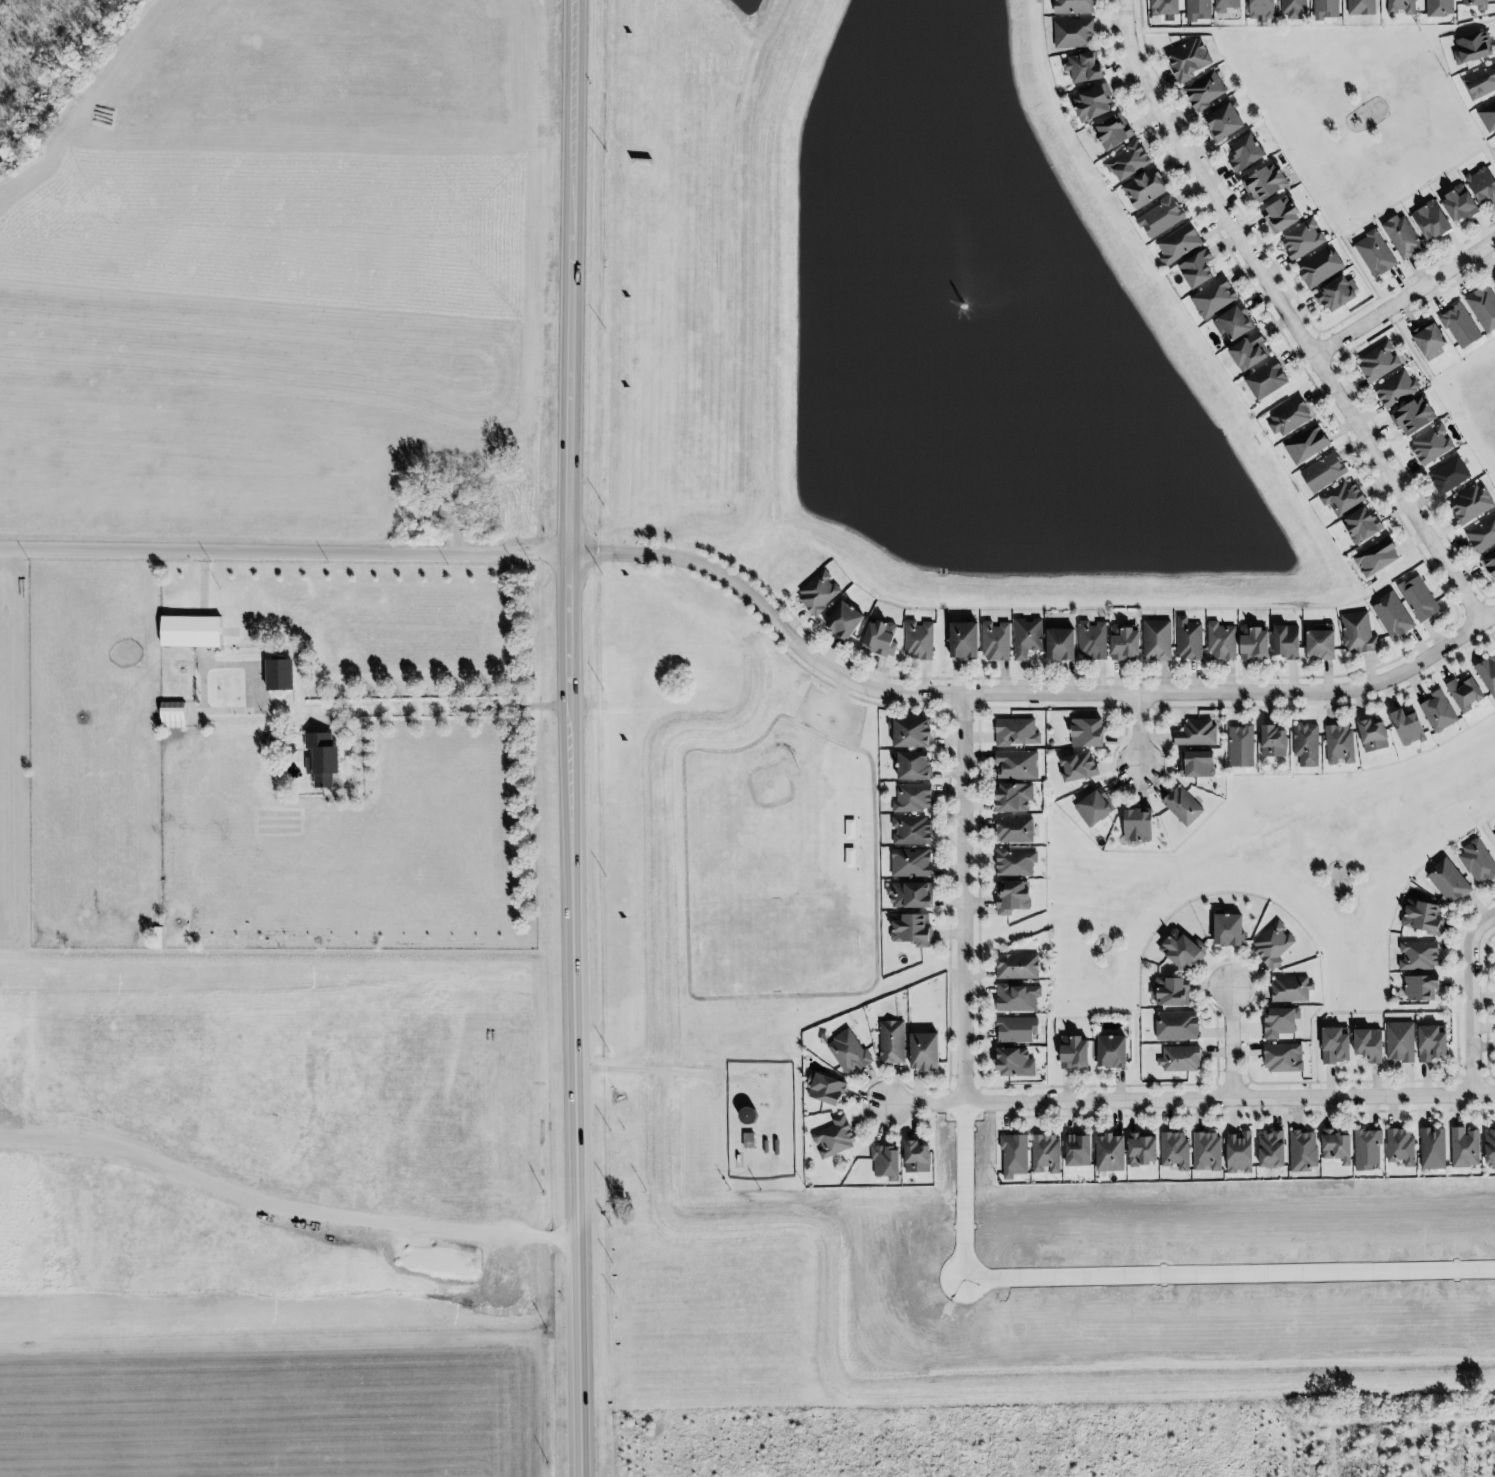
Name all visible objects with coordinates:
building: (1226, 5)
building: (1477, 5)
building: (1071, 7)
building: (1161, 7)
building: (1361, 7)
building: (1402, 7)
building: (1440, 8)
building: (1262, 9)
building: (1294, 9)
building: (1324, 9)
building: (1199, 10)
building: (1074, 34)
building: (1473, 49)
building: (1188, 61)
building: (1084, 69)
building: (1481, 84)
building: (1205, 92)
building: (1093, 104)
building: (1488, 118)
building: (1225, 125)
building: (1114, 134)
building: (1494, 136)
building: (1246, 156)
building: (1125, 161)
building: (1263, 181)
building: (1482, 186)
building: (1145, 190)
building: (1455, 203)
building: (1278, 214)
building: (1162, 219)
building: (1432, 223)
building: (1401, 236)
building: (1303, 241)
building: (1177, 244)
building: (1373, 253)
building: (1320, 269)
building: (1197, 272)
building: (1493, 281)
building: (1334, 293)
road: (1405, 296)
building: (1213, 300)
building: (1483, 305)
road: (1289, 314)
building: (1460, 324)
building: (1235, 326)
building: (1430, 338)
building: (1250, 354)
building: (1380, 360)
building: (1266, 381)
building: (1396, 387)
building: (1413, 412)
building: (1287, 417)
building: (1305, 445)
building: (1429, 445)
building: (1324, 471)
building: (1448, 475)
building: (1343, 497)
building: (1468, 505)
building: (1363, 523)
building: (1481, 535)
road: (287, 549)
building: (1375, 557)
building: (1490, 562)
building: (819, 591)
building: (1418, 598)
building: (1393, 614)
building: (840, 620)
building: (192, 630)
building: (1356, 633)
building: (880, 637)
building: (1025, 637)
building: (964, 638)
building: (1093, 638)
building: (1158, 638)
building: (1189, 638)
building: (919, 639)
building: (1287, 639)
building: (993, 641)
building: (1125, 641)
building: (1220, 641)
building: (1254, 642)
building: (1317, 642)
building: (1056, 644)
building: (280, 671)
building: (1487, 672)
building: (1462, 693)
road: (1022, 695)
building: (1439, 710)
building: (173, 715)
road: (383, 717)
building: (1408, 725)
building: (1088, 730)
building: (911, 731)
building: (1016, 731)
road: (1138, 731)
building: (1197, 732)
building: (1373, 733)
road: (575, 738)
building: (1274, 739)
building: (1307, 743)
building: (1338, 744)
building: (1242, 745)
building: (323, 756)
building: (1198, 762)
building: (914, 763)
building: (1018, 764)
building: (1079, 765)
building: (1014, 796)
building: (913, 798)
building: (1183, 804)
building: (1095, 805)
building: (1139, 822)
building: (849, 829)
building: (910, 830)
building: (1012, 830)
building: (848, 857)
building: (1476, 861)
building: (912, 862)
building: (1016, 862)
building: (1449, 880)
building: (909, 895)
building: (1013, 895)
road: (960, 898)
building: (1424, 916)
building: (1230, 927)
building: (914, 928)
building: (1273, 944)
building: (1184, 947)
building: (1419, 955)
building: (1018, 965)
building: (1421, 985)
building: (1290, 989)
building: (1174, 990)
building: (1017, 996)
road: (1472, 1001)
building: (1278, 1022)
building: (1178, 1025)
building: (1017, 1028)
building: (892, 1041)
building: (1369, 1042)
building: (1398, 1042)
building: (1432, 1042)
road: (1232, 1043)
building: (1335, 1044)
building: (925, 1049)
building: (1074, 1050)
building: (1113, 1050)
building: (849, 1052)
building: (1283, 1056)
building: (1181, 1057)
building: (1016, 1061)
road: (650, 1072)
building: (826, 1087)
road: (1186, 1098)
building: (832, 1138)
building: (747, 1140)
building: (1401, 1145)
building: (1333, 1146)
building: (1367, 1147)
building: (1433, 1147)
building: (1465, 1147)
building: (1490, 1147)
building: (1078, 1148)
building: (1272, 1148)
building: (1139, 1149)
building: (1176, 1149)
building: (1207, 1150)
building: (1303, 1150)
building: (1111, 1151)
building: (1046, 1152)
building: (1236, 1152)
building: (917, 1155)
building: (1012, 1156)
building: (886, 1160)
road: (1142, 1276)

